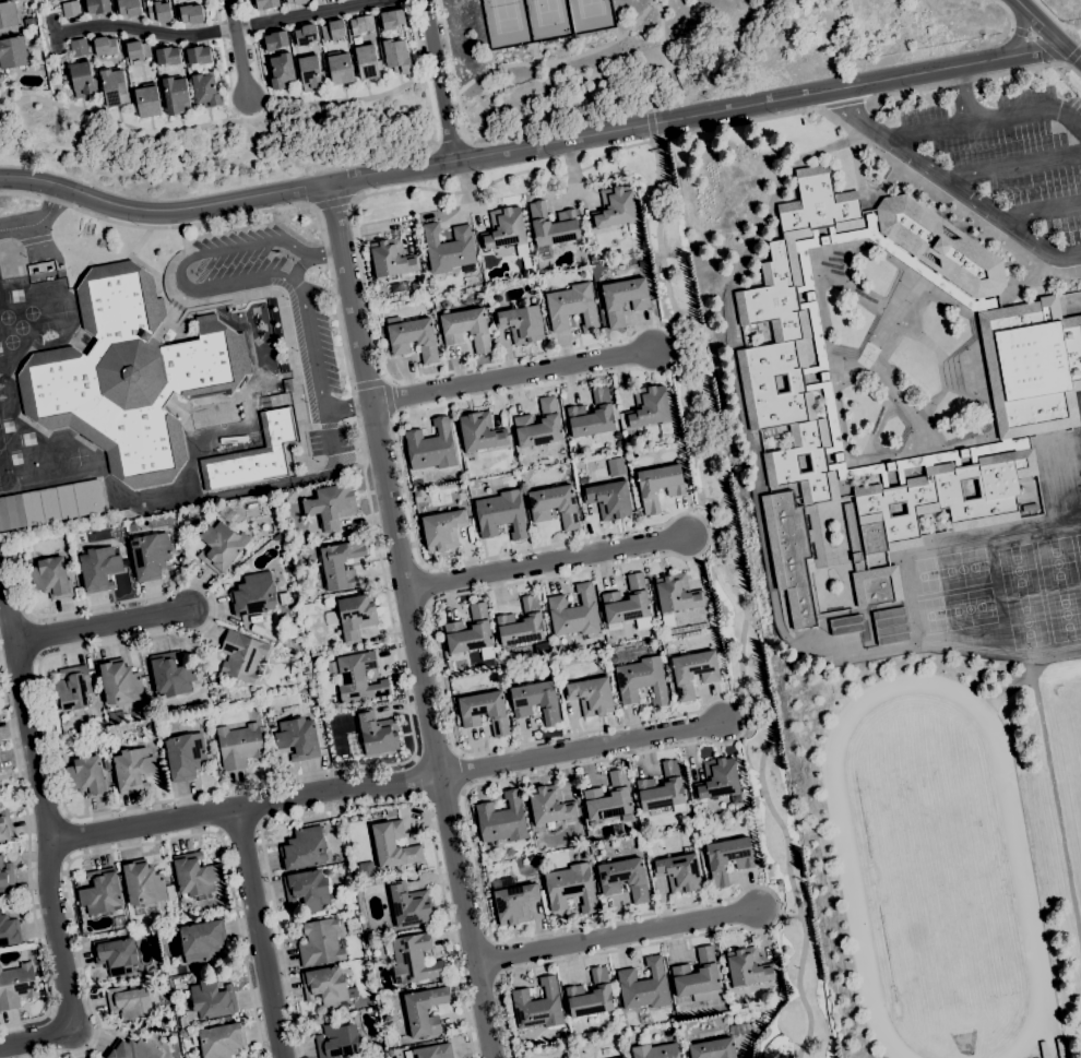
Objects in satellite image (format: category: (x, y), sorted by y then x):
building: (309, 0)
building: (298, 1)
road: (652, 1)
building: (266, 4)
building: (97, 5)
building: (129, 7)
road: (1018, 7)
building: (71, 9)
park: (590, 9)
building: (158, 11)
road: (1010, 11)
building: (191, 13)
park: (548, 13)
building: (8, 15)
park: (542, 15)
park: (506, 16)
building: (392, 17)
building: (361, 24)
park: (1073, 27)
road: (217, 29)
building: (333, 29)
road: (1043, 29)
road: (50, 31)
building: (306, 34)
road: (1020, 36)
road: (1076, 36)
building: (275, 39)
road: (1042, 41)
building: (105, 45)
building: (79, 47)
road: (236, 49)
building: (138, 50)
road: (1034, 50)
road: (590, 51)
building: (12, 52)
park: (681, 54)
building: (198, 55)
road: (1071, 55)
building: (167, 56)
building: (396, 56)
road: (1073, 56)
road: (253, 58)
road: (225, 60)
road: (982, 61)
building: (367, 62)
building: (338, 67)
road: (451, 69)
road: (421, 70)
building: (281, 71)
building: (310, 72)
building: (82, 78)
road: (418, 78)
road: (438, 80)
road: (954, 83)
building: (114, 87)
building: (205, 91)
building: (176, 95)
road: (964, 96)
building: (146, 99)
road: (675, 103)
road: (650, 122)
road: (988, 124)
road: (201, 127)
road: (450, 140)
road: (477, 156)
road: (1011, 166)
road: (950, 186)
road: (329, 202)
building: (615, 207)
road: (1041, 212)
road: (37, 216)
building: (553, 225)
building: (631, 227)
building: (506, 230)
road: (34, 239)
road: (180, 239)
road: (9, 243)
building: (418, 243)
building: (940, 246)
building: (449, 249)
road: (309, 255)
building: (391, 259)
road: (9, 261)
building: (604, 273)
road: (225, 285)
building: (416, 288)
building: (385, 290)
park: (15, 295)
building: (623, 298)
road: (216, 299)
building: (444, 305)
building: (572, 307)
park: (29, 312)
park: (5, 317)
building: (521, 323)
park: (20, 326)
building: (466, 328)
building: (412, 337)
building: (818, 338)
park: (10, 342)
road: (679, 345)
building: (1032, 366)
building: (130, 376)
road: (511, 377)
road: (368, 380)
building: (792, 390)
building: (611, 391)
road: (391, 397)
road: (348, 408)
building: (649, 408)
building: (593, 415)
road: (345, 423)
building: (538, 425)
road: (326, 426)
road: (311, 427)
building: (479, 432)
road: (329, 433)
park: (1, 443)
building: (430, 447)
building: (253, 454)
building: (471, 456)
road: (359, 460)
road: (340, 462)
park: (4, 473)
road: (280, 484)
building: (658, 485)
building: (416, 494)
building: (609, 499)
building: (942, 499)
building: (262, 502)
building: (50, 504)
building: (331, 504)
building: (555, 506)
building: (500, 514)
building: (186, 524)
building: (442, 530)
road: (715, 542)
building: (219, 546)
building: (150, 555)
road: (642, 559)
building: (341, 564)
road: (548, 566)
building: (98, 569)
building: (869, 573)
building: (50, 578)
building: (676, 594)
building: (253, 595)
building: (284, 598)
road: (740, 599)
building: (627, 602)
building: (307, 606)
building: (573, 613)
road: (5, 614)
building: (353, 616)
building: (257, 618)
road: (415, 619)
building: (521, 623)
building: (845, 625)
road: (100, 626)
building: (688, 628)
building: (470, 631)
building: (643, 651)
building: (241, 656)
building: (597, 661)
building: (547, 665)
building: (331, 667)
building: (693, 671)
building: (171, 675)
building: (358, 678)
building: (641, 680)
building: (120, 682)
building: (72, 688)
building: (591, 696)
road: (744, 700)
building: (535, 701)
building: (293, 711)
building: (484, 711)
building: (150, 727)
building: (116, 728)
building: (373, 735)
building: (298, 738)
building: (239, 746)
building: (111, 749)
road: (586, 750)
building: (183, 756)
building: (106, 763)
road: (363, 766)
park: (1062, 768)
building: (0, 770)
building: (133, 770)
building: (87, 777)
road: (418, 778)
building: (718, 778)
building: (662, 789)
building: (608, 798)
building: (550, 805)
road: (353, 806)
road: (249, 808)
building: (502, 819)
building: (4, 825)
road: (239, 828)
building: (645, 829)
road: (133, 845)
building: (393, 845)
building: (304, 848)
building: (509, 852)
building: (757, 855)
building: (336, 858)
building: (727, 858)
road: (28, 869)
building: (367, 869)
road: (46, 872)
building: (679, 872)
building: (193, 876)
building: (5, 877)
building: (623, 878)
building: (779, 881)
building: (143, 883)
building: (571, 888)
building: (307, 889)
building: (100, 892)
building: (514, 903)
building: (409, 905)
road: (789, 916)
building: (9, 930)
road: (260, 935)
road: (620, 936)
park: (1080, 936)
building: (201, 940)
building: (320, 942)
building: (115, 955)
building: (413, 959)
building: (748, 966)
building: (171, 971)
building: (699, 977)
building: (177, 983)
building: (16, 986)
building: (325, 986)
building: (644, 986)
building: (590, 996)
building: (213, 999)
building: (129, 1003)
building: (537, 1006)
building: (424, 1010)
building: (645, 1019)
building: (388, 1020)
building: (336, 1039)
building: (219, 1041)
building: (1059, 1048)
building: (133, 1049)
building: (715, 1049)
building: (1043, 1049)
building: (392, 1051)
building: (433, 1051)
building: (655, 1051)

